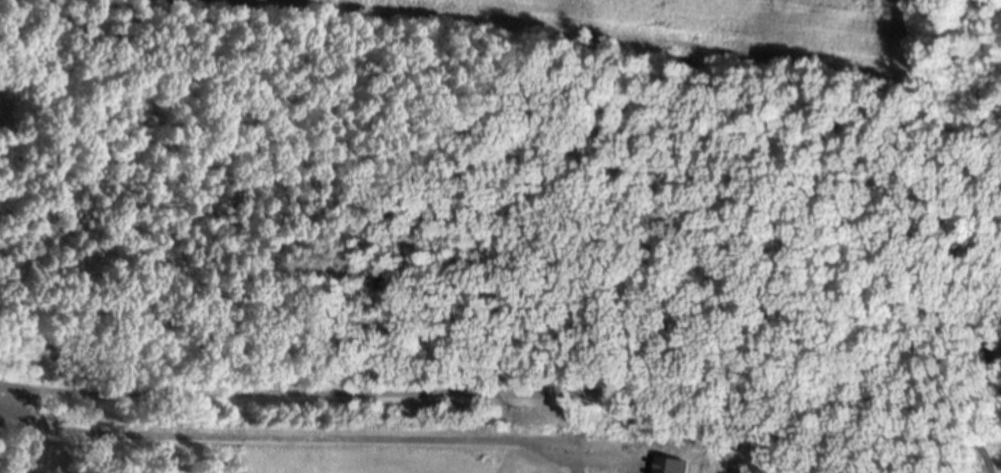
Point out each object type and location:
road: (11, 390)
road: (525, 395)
road: (25, 432)
road: (318, 436)
building: (675, 467)

